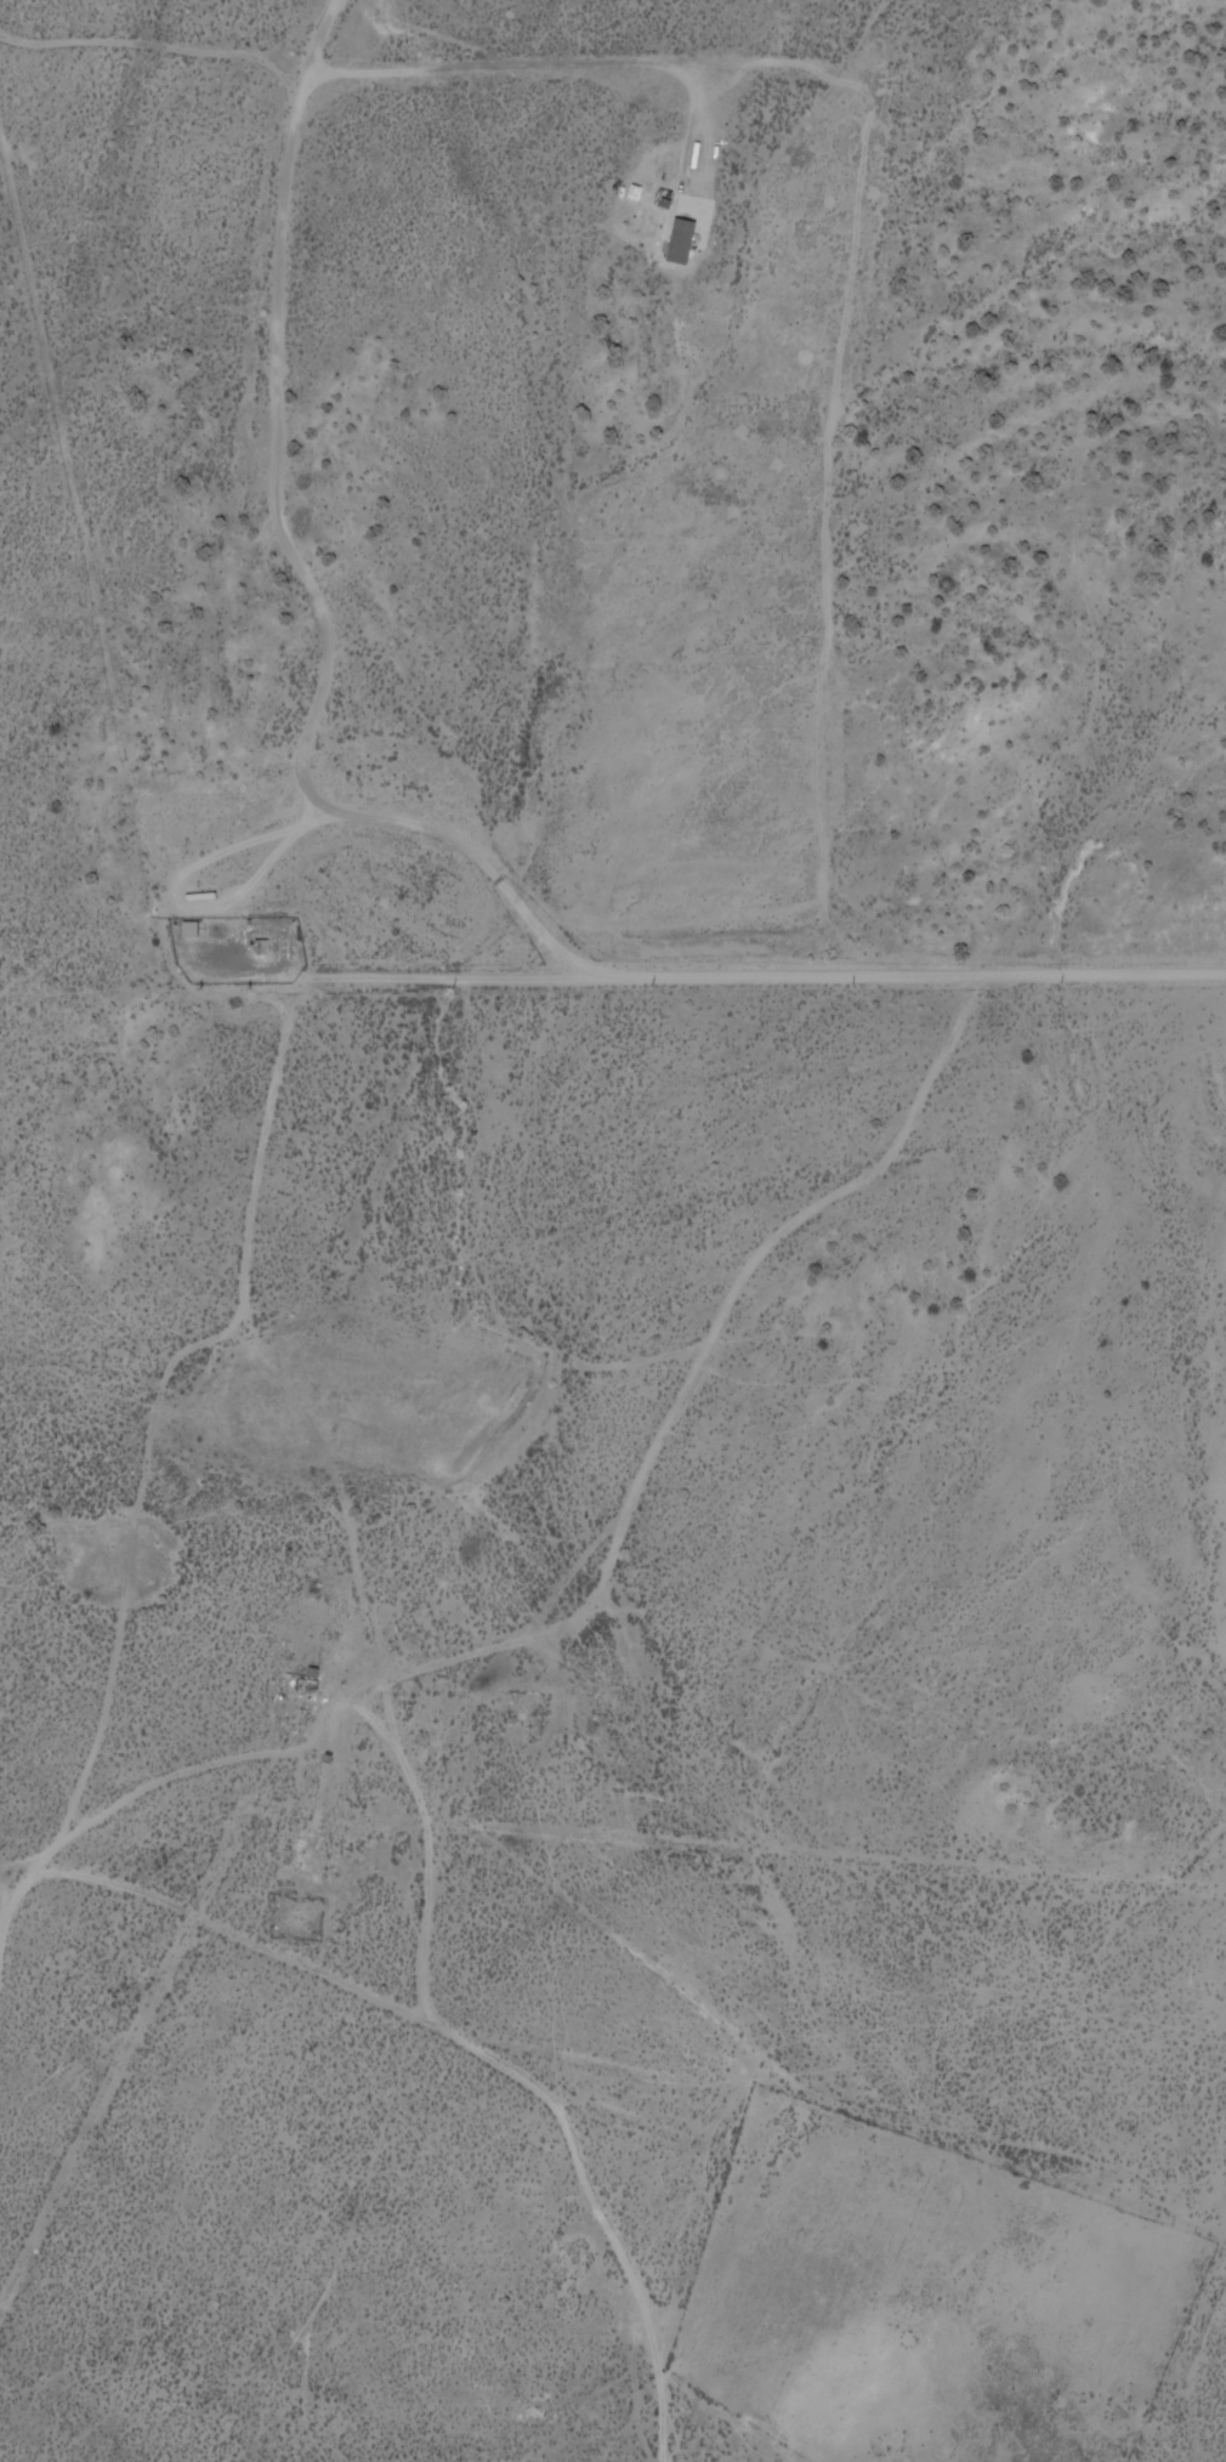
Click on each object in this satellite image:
building: (671, 242)
building: (189, 931)
road: (720, 978)
building: (308, 1684)
road: (422, 1797)
road: (598, 2108)
road: (621, 2282)

